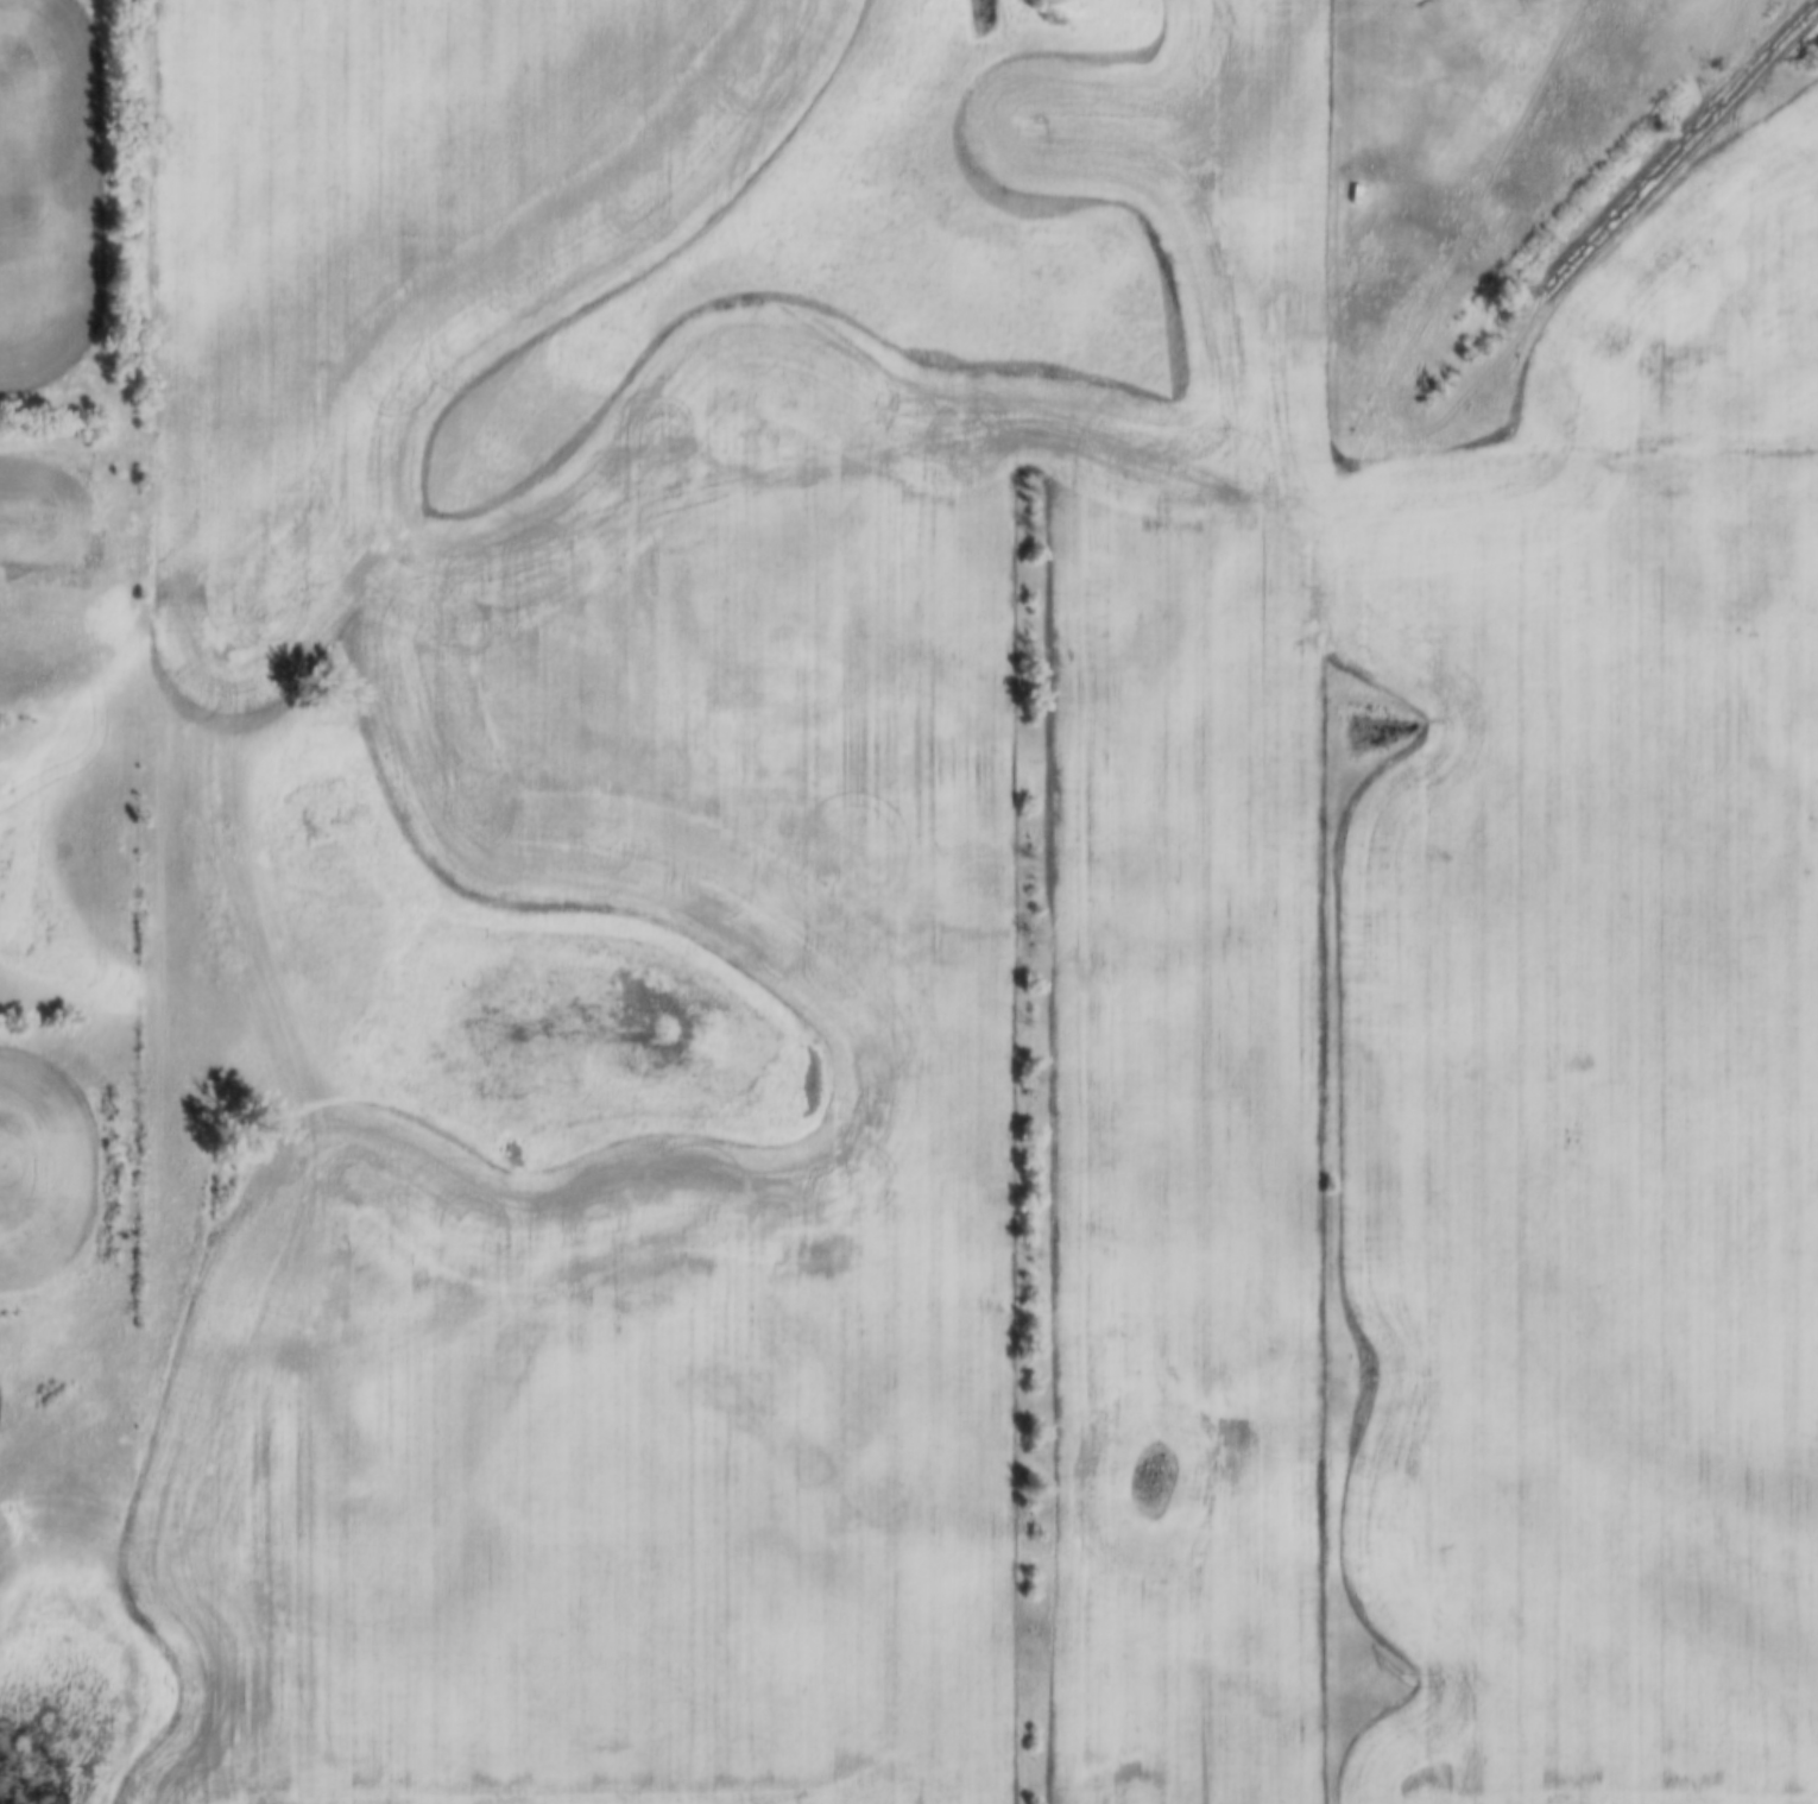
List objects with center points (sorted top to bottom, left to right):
power tower: (1406, 1679)

